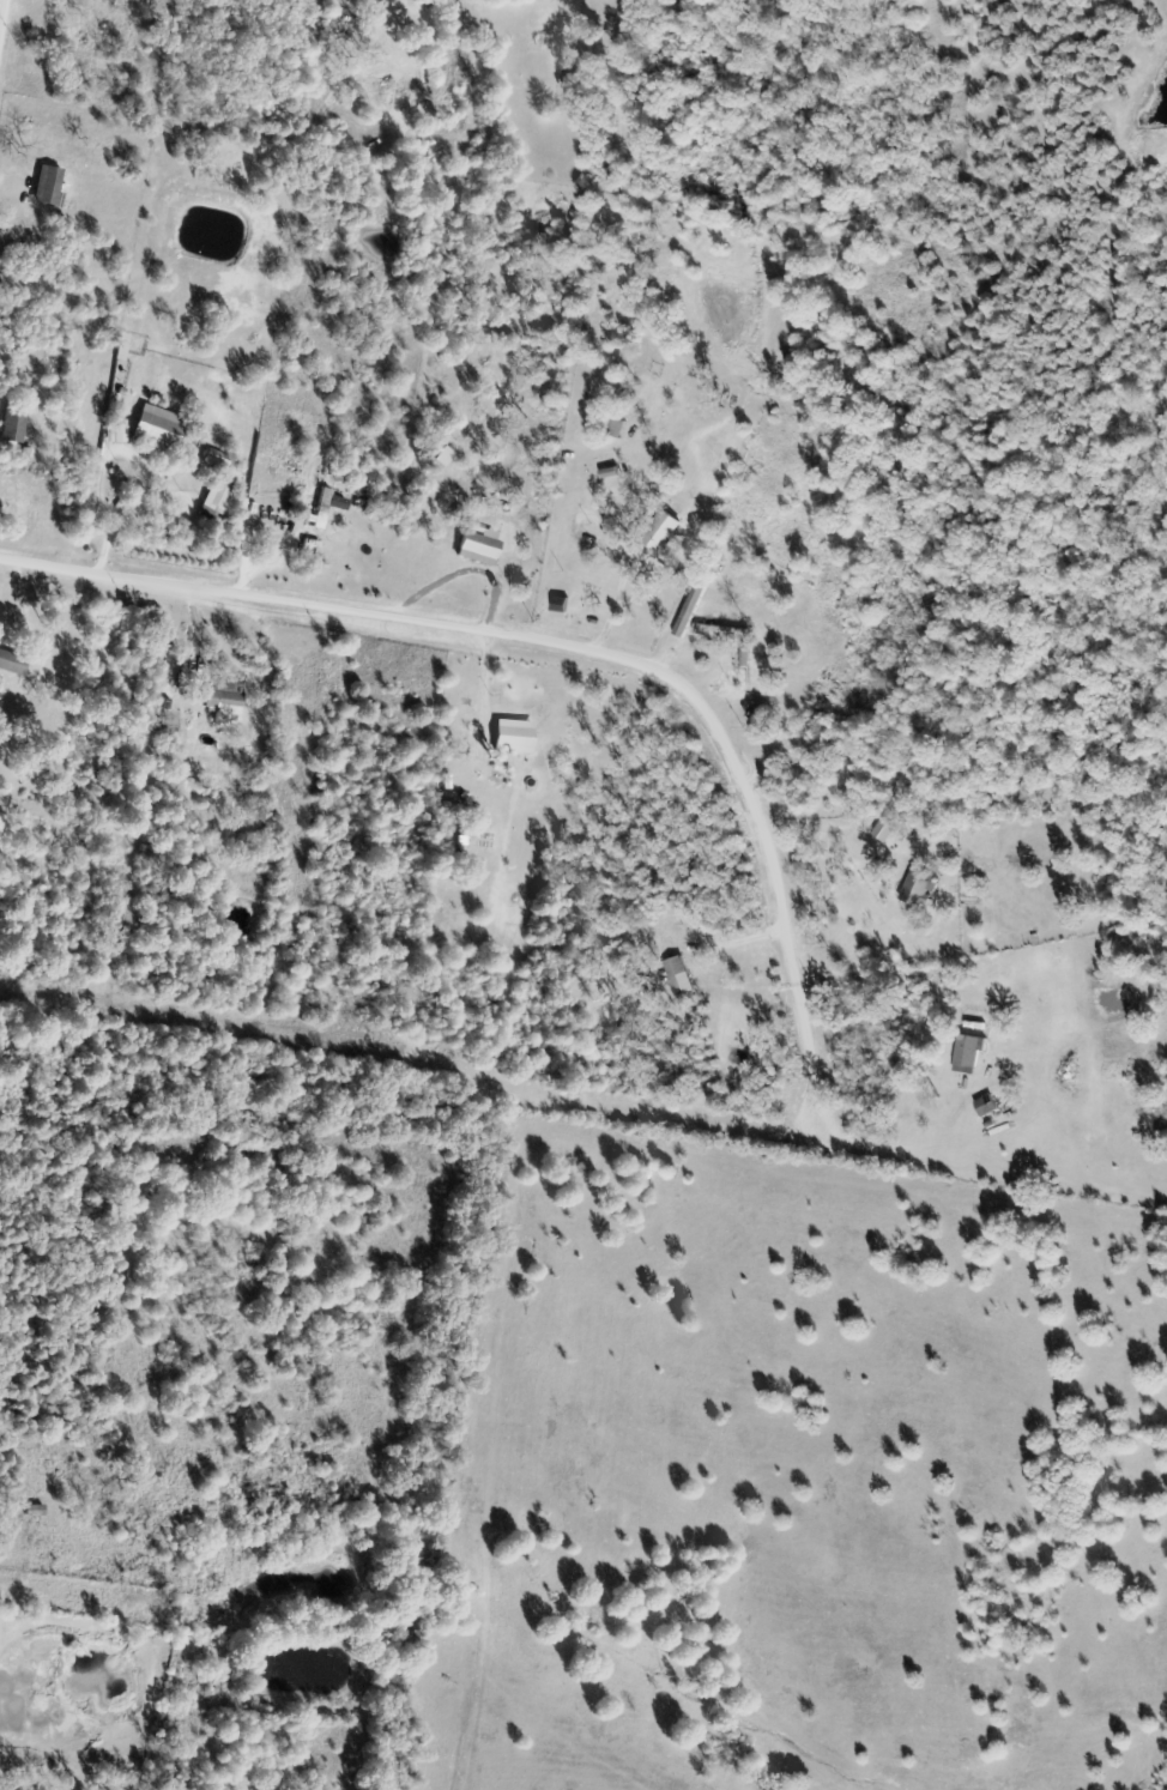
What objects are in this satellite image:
building: (46, 186)
building: (12, 422)
building: (157, 430)
building: (659, 533)
building: (477, 549)
building: (716, 631)
road: (580, 655)
building: (11, 664)
building: (220, 700)
building: (512, 738)
building: (882, 831)
building: (917, 888)
building: (677, 976)
building: (967, 1054)
road: (555, 1089)
building: (985, 1106)
building: (34, 1511)
road: (17, 1591)

